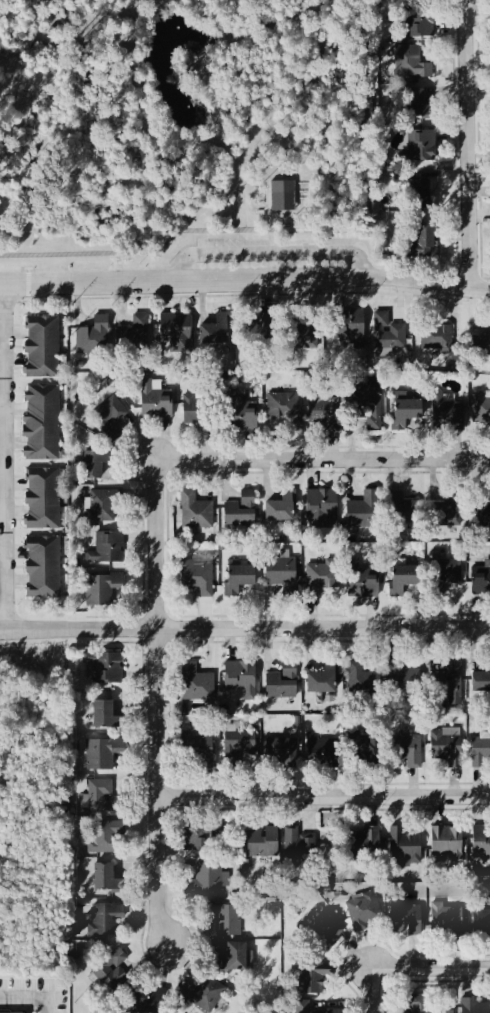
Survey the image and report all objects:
building: (418, 24)
building: (408, 62)
building: (415, 105)
road: (466, 146)
building: (418, 148)
building: (421, 187)
building: (284, 197)
building: (421, 243)
road: (272, 254)
road: (245, 282)
building: (348, 325)
building: (266, 330)
building: (175, 331)
building: (133, 334)
building: (213, 335)
building: (304, 336)
building: (435, 337)
building: (392, 339)
building: (92, 340)
building: (482, 340)
building: (41, 348)
building: (155, 405)
building: (367, 406)
building: (281, 407)
building: (481, 409)
building: (322, 410)
building: (405, 411)
building: (197, 413)
building: (446, 415)
building: (240, 417)
building: (109, 419)
building: (41, 424)
road: (4, 458)
road: (322, 461)
building: (95, 464)
building: (42, 500)
building: (102, 505)
building: (321, 507)
building: (396, 509)
building: (412, 509)
building: (453, 509)
building: (278, 511)
building: (363, 511)
building: (239, 512)
building: (430, 512)
building: (194, 513)
building: (481, 516)
building: (106, 549)
building: (42, 568)
building: (455, 573)
building: (281, 575)
building: (197, 576)
building: (238, 579)
building: (321, 579)
building: (403, 579)
building: (481, 581)
building: (447, 583)
building: (364, 585)
building: (101, 589)
road: (244, 621)
building: (102, 669)
building: (481, 680)
building: (322, 681)
building: (361, 681)
building: (403, 681)
building: (239, 682)
building: (196, 684)
building: (281, 684)
building: (446, 685)
road: (157, 706)
building: (105, 717)
building: (445, 746)
building: (236, 749)
building: (361, 749)
building: (198, 750)
building: (406, 751)
building: (320, 752)
building: (102, 754)
building: (479, 754)
building: (290, 755)
road: (324, 789)
building: (103, 798)
building: (199, 834)
building: (106, 838)
building: (446, 843)
building: (481, 843)
building: (262, 844)
building: (298, 846)
building: (364, 846)
building: (403, 849)
building: (106, 880)
building: (207, 881)
building: (363, 912)
building: (105, 919)
building: (223, 919)
building: (406, 919)
building: (446, 920)
building: (480, 922)
building: (321, 932)
building: (233, 960)
road: (431, 968)
building: (110, 974)
building: (312, 978)
road: (371, 990)
building: (201, 994)
road: (29, 997)
building: (155, 1000)
building: (417, 1004)
building: (475, 1007)
building: (328, 1012)

